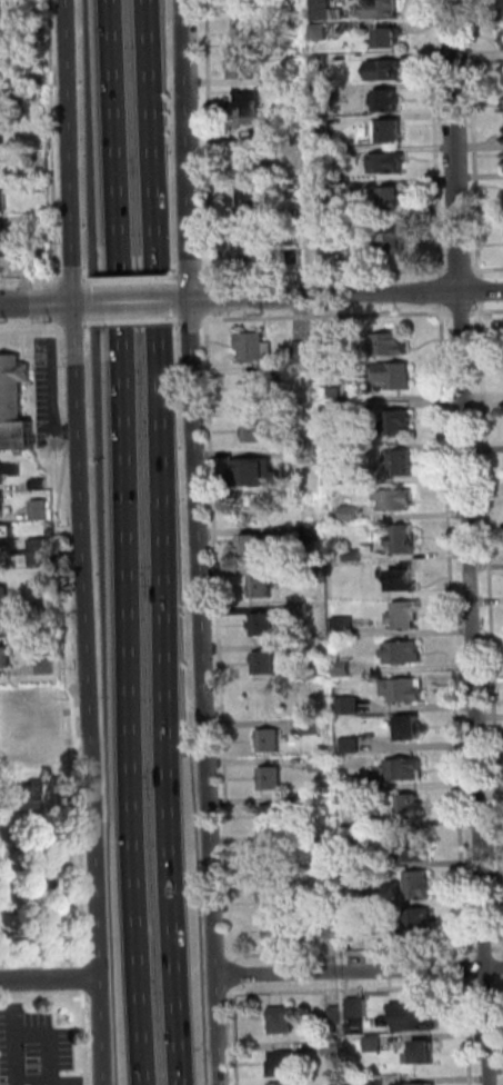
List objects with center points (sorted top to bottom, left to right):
building: (502, 9)
building: (2, 10)
building: (323, 10)
building: (381, 10)
building: (249, 17)
building: (38, 18)
building: (321, 32)
building: (390, 39)
building: (502, 39)
building: (2, 43)
building: (39, 49)
building: (323, 62)
building: (244, 63)
building: (389, 70)
building: (2, 74)
building: (291, 79)
building: (323, 93)
building: (390, 101)
building: (251, 109)
building: (290, 115)
building: (324, 126)
building: (391, 132)
road: (434, 137)
road: (472, 137)
road: (212, 138)
building: (1, 140)
road: (58, 142)
building: (258, 155)
building: (326, 157)
building: (390, 163)
building: (1, 169)
building: (292, 183)
building: (44, 187)
building: (328, 189)
building: (394, 199)
building: (6, 202)
building: (253, 202)
building: (41, 220)
building: (3, 232)
road: (78, 233)
building: (293, 240)
building: (396, 241)
building: (333, 248)
building: (251, 249)
building: (298, 257)
building: (7, 262)
building: (49, 266)
road: (457, 267)
road: (487, 267)
road: (331, 271)
road: (137, 279)
road: (33, 280)
road: (80, 280)
road: (218, 280)
road: (439, 289)
road: (341, 295)
road: (138, 301)
road: (62, 303)
road: (47, 305)
road: (459, 311)
road: (486, 311)
road: (328, 316)
road: (194, 321)
road: (138, 322)
road: (37, 332)
building: (335, 337)
building: (393, 347)
building: (258, 348)
building: (306, 350)
building: (393, 378)
building: (16, 386)
building: (259, 389)
building: (336, 397)
building: (336, 416)
building: (402, 425)
building: (259, 432)
building: (20, 438)
building: (402, 464)
building: (260, 476)
building: (4, 477)
building: (352, 480)
building: (46, 485)
building: (400, 502)
building: (6, 509)
building: (352, 515)
building: (318, 534)
building: (6, 538)
building: (406, 540)
road: (203, 541)
road: (120, 542)
road: (161, 542)
road: (467, 542)
building: (260, 547)
building: (46, 554)
building: (356, 557)
building: (319, 574)
building: (404, 580)
building: (264, 588)
building: (342, 590)
building: (8, 599)
building: (50, 608)
building: (302, 610)
building: (409, 618)
road: (490, 624)
building: (266, 626)
road: (451, 626)
building: (346, 627)
building: (8, 630)
road: (67, 630)
road: (220, 640)
building: (303, 650)
building: (405, 654)
building: (8, 661)
building: (268, 665)
building: (49, 668)
building: (346, 669)
building: (405, 693)
building: (351, 706)
building: (314, 727)
building: (414, 729)
building: (272, 743)
building: (352, 746)
building: (322, 765)
building: (408, 770)
road: (95, 776)
building: (272, 780)
building: (350, 785)
building: (18, 799)
building: (315, 804)
building: (415, 808)
building: (274, 818)
building: (413, 849)
building: (266, 854)
building: (353, 863)
road: (54, 885)
building: (420, 887)
building: (275, 890)
park: (46, 896)
building: (356, 899)
building: (422, 927)
building: (331, 929)
building: (280, 930)
road: (497, 947)
road: (353, 950)
road: (41, 957)
road: (358, 972)
road: (50, 979)
road: (491, 987)
road: (499, 987)
road: (40, 998)
building: (359, 1009)
building: (336, 1015)
building: (416, 1018)
building: (284, 1022)
road: (16, 1033)
road: (82, 1038)
road: (51, 1042)
parking lot: (33, 1045)
building: (334, 1048)
building: (426, 1056)
building: (283, 1066)
building: (280, 1082)
building: (375, 1083)
building: (422, 1083)
road: (79, 1084)

